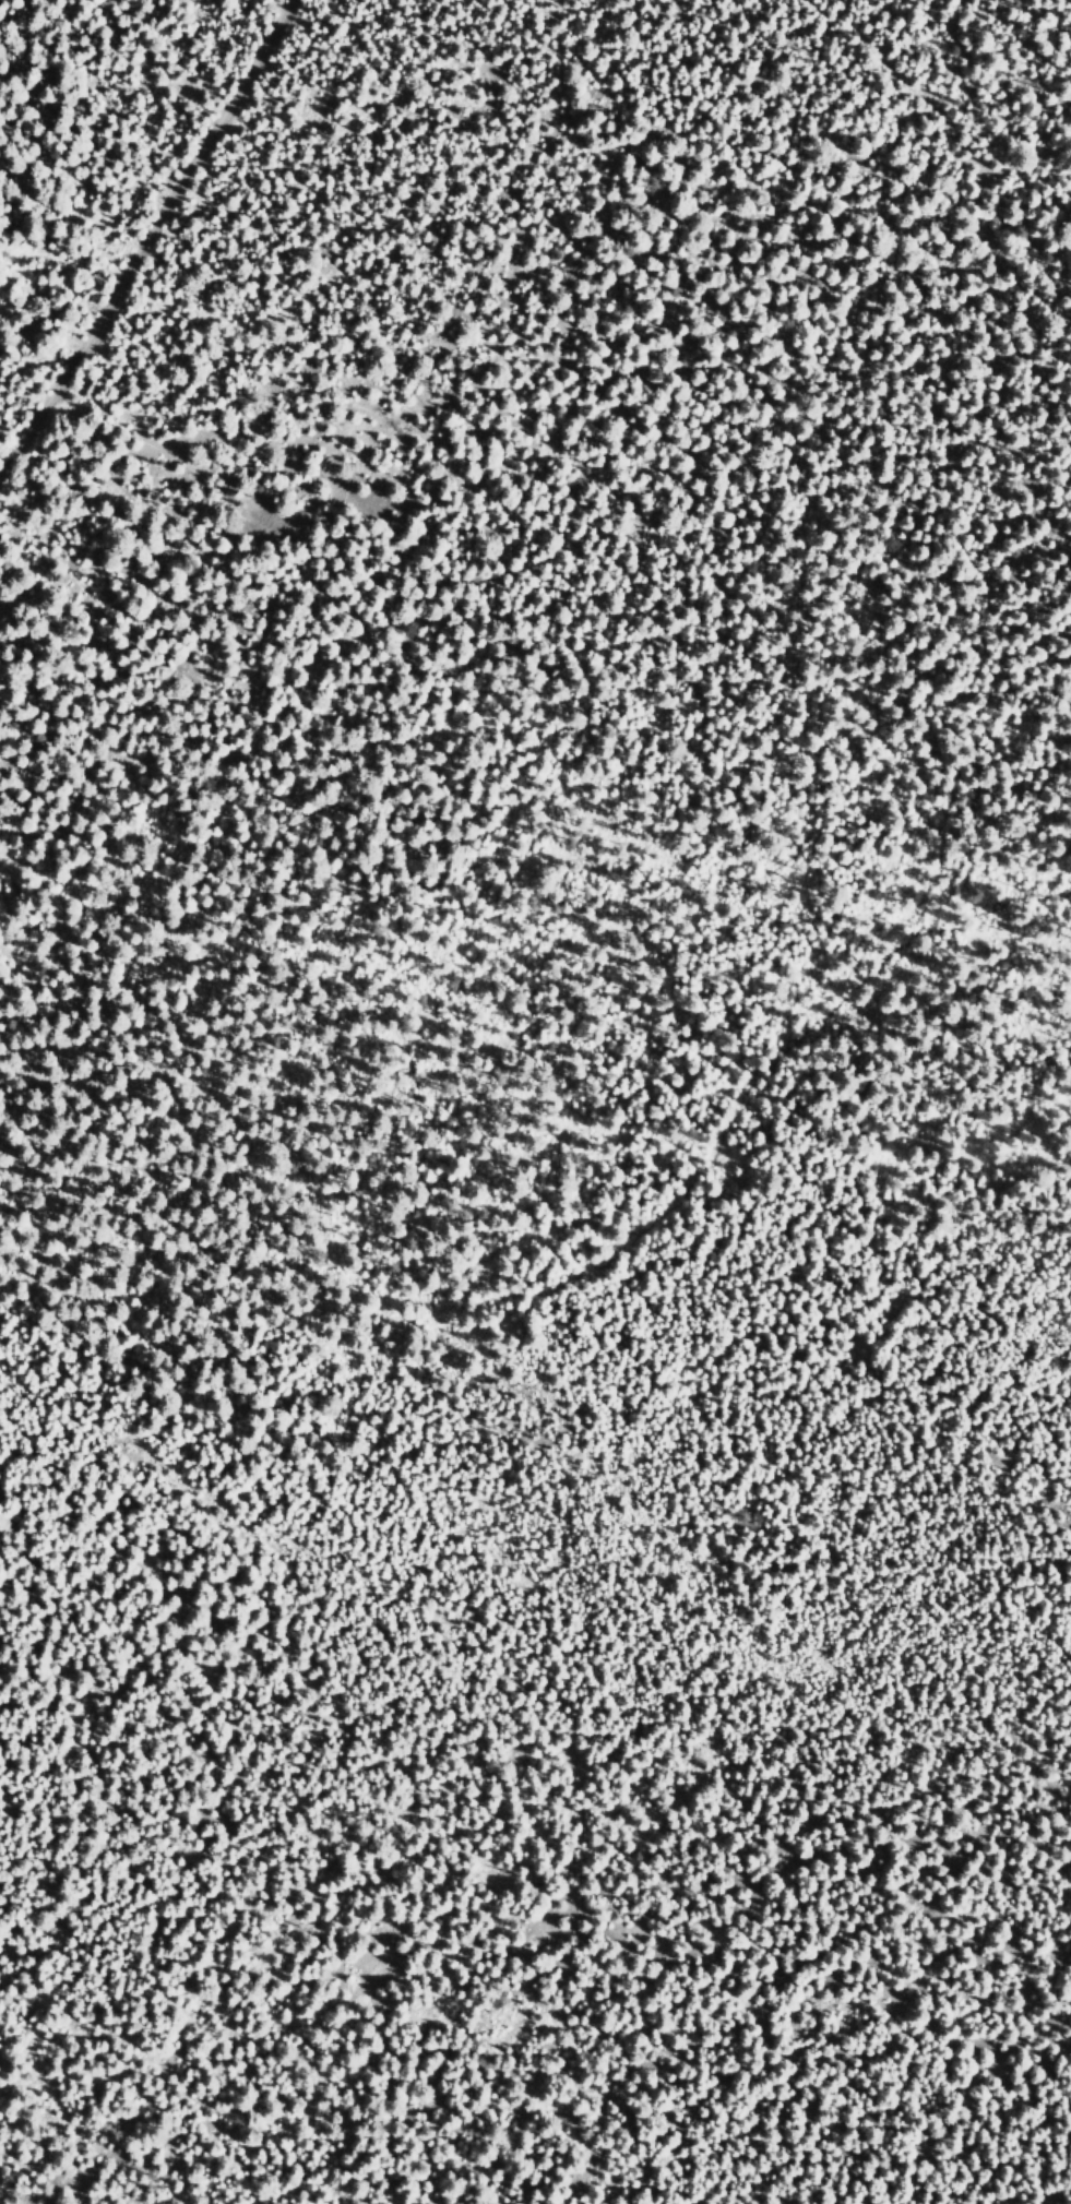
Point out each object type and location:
road: (147, 229)
road: (511, 1871)

